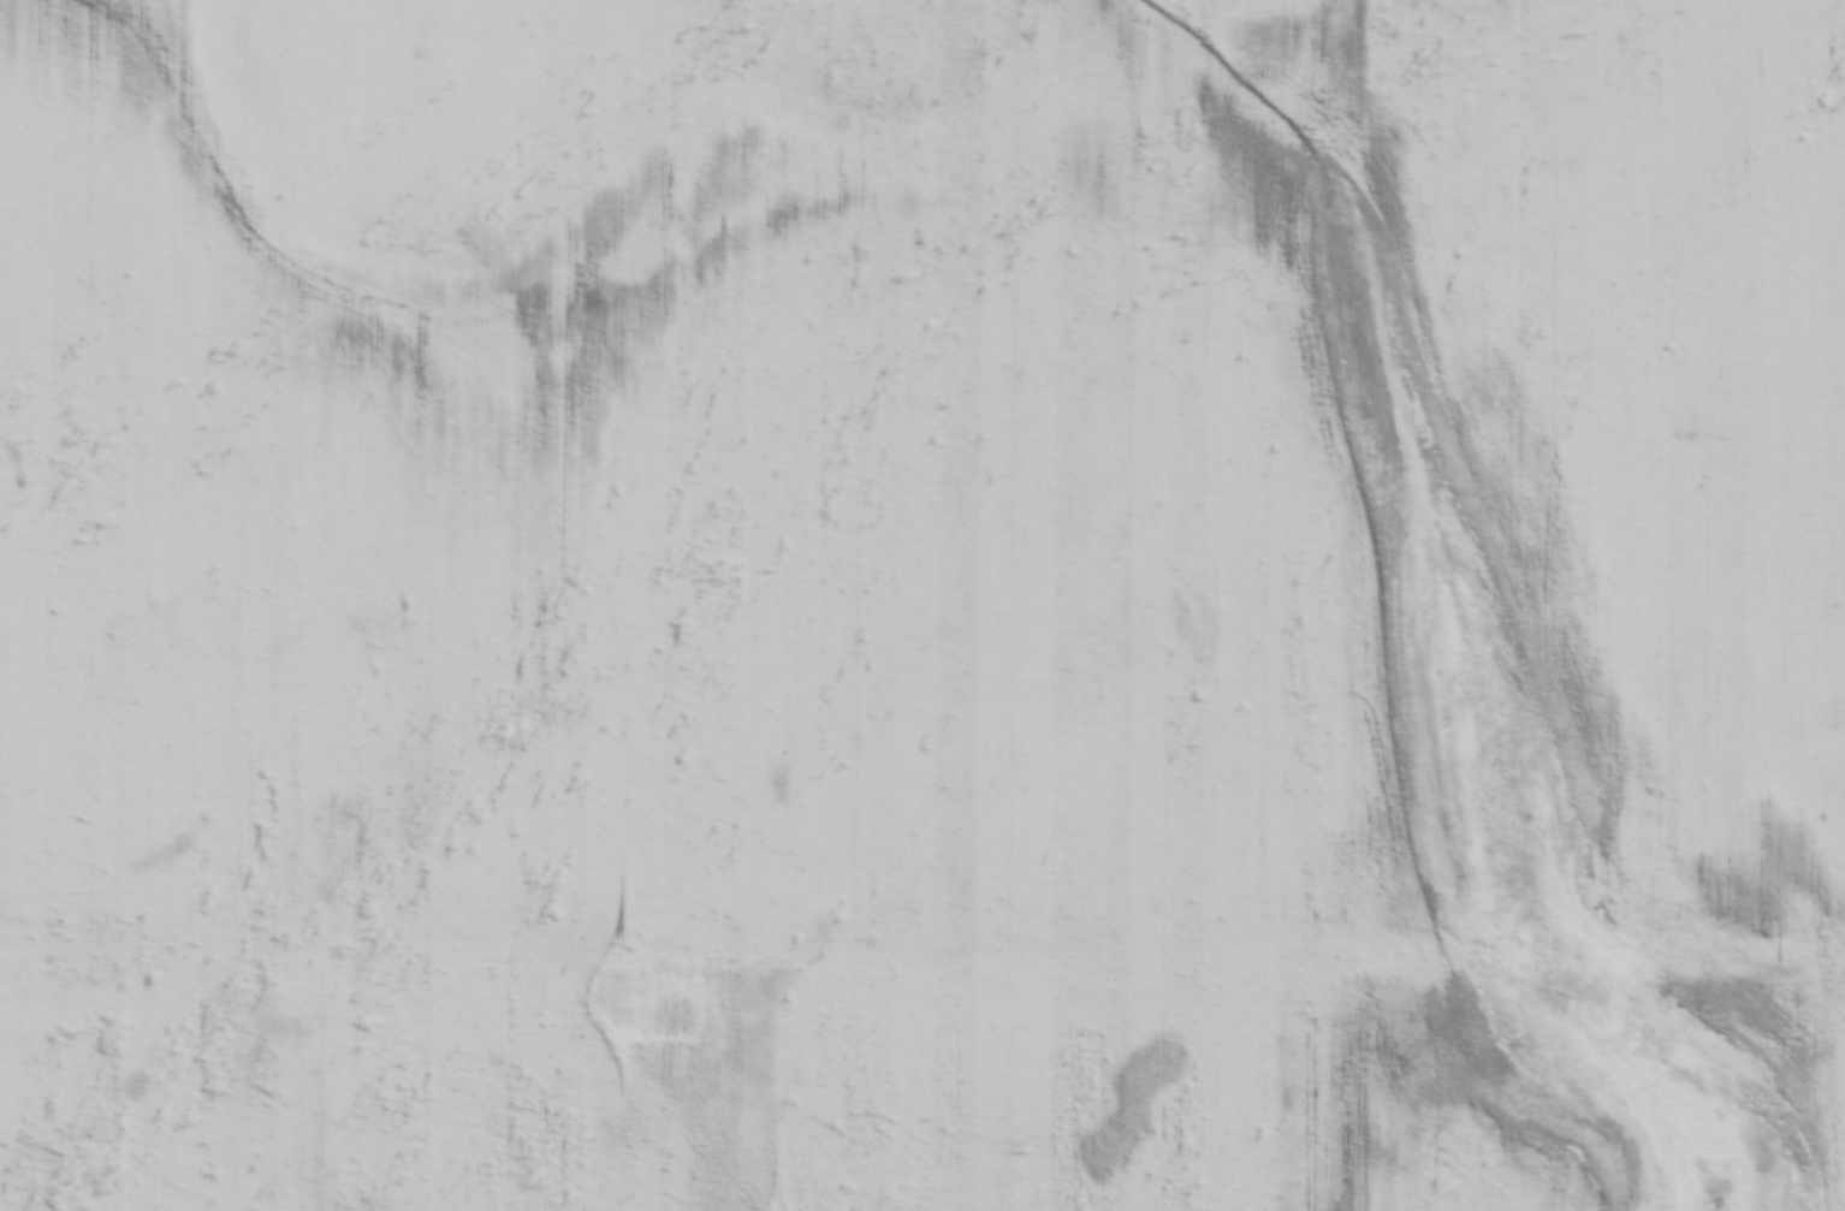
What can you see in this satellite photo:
road: (921, 937)

